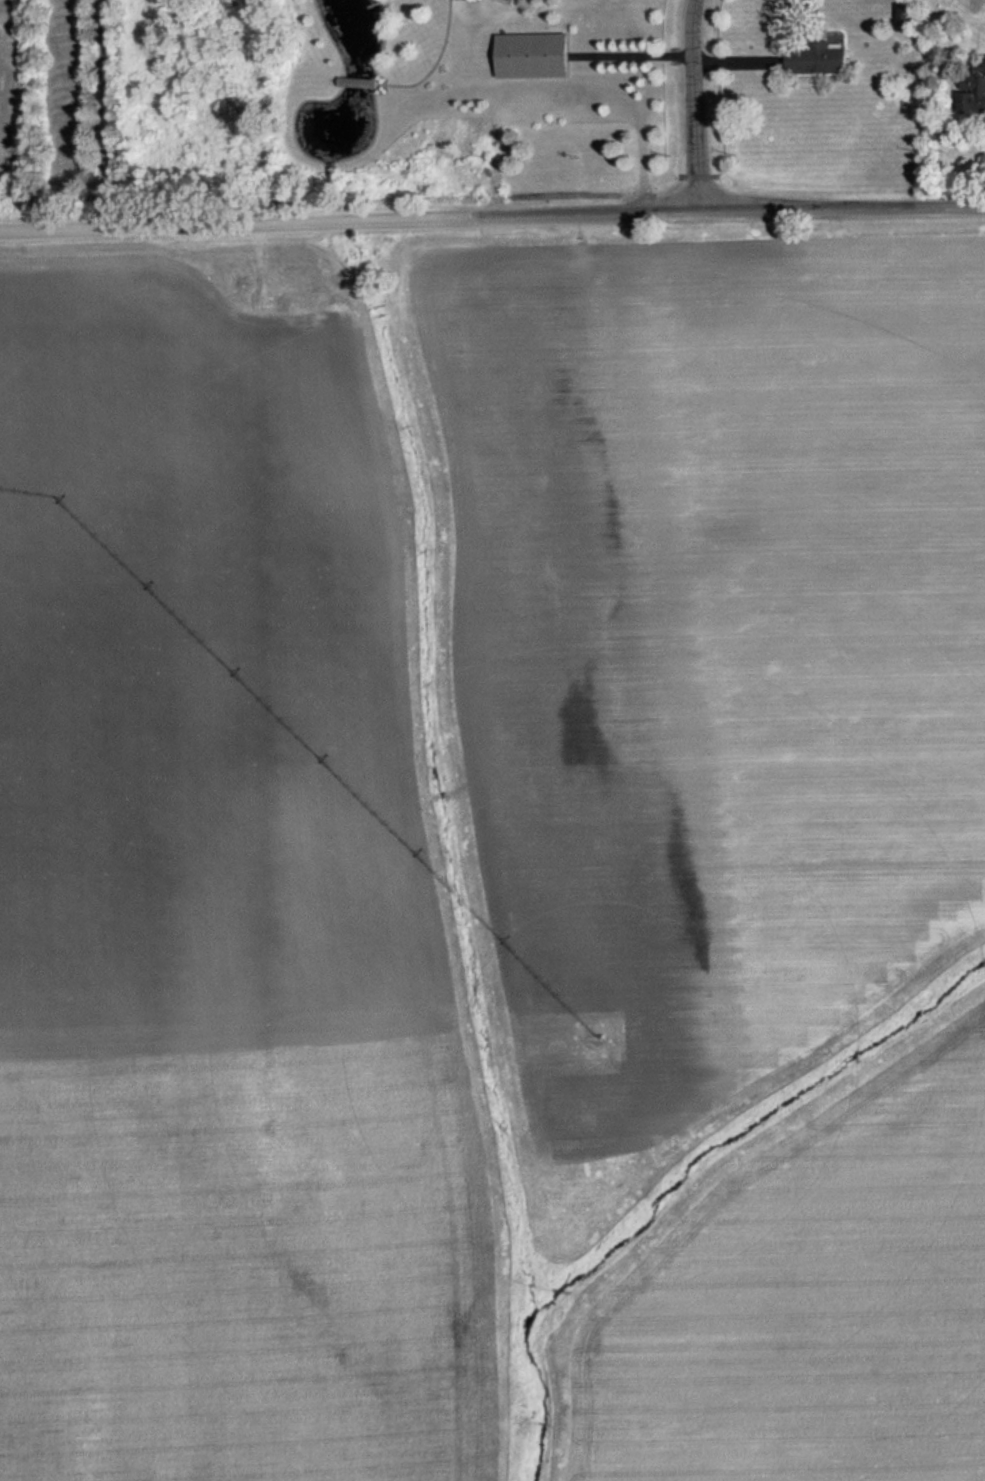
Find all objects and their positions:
building: (532, 53)
road: (631, 54)
building: (816, 58)
road: (430, 66)
road: (335, 79)
road: (354, 80)
building: (973, 90)
road: (689, 103)
road: (101, 112)
road: (726, 206)
road: (234, 221)

